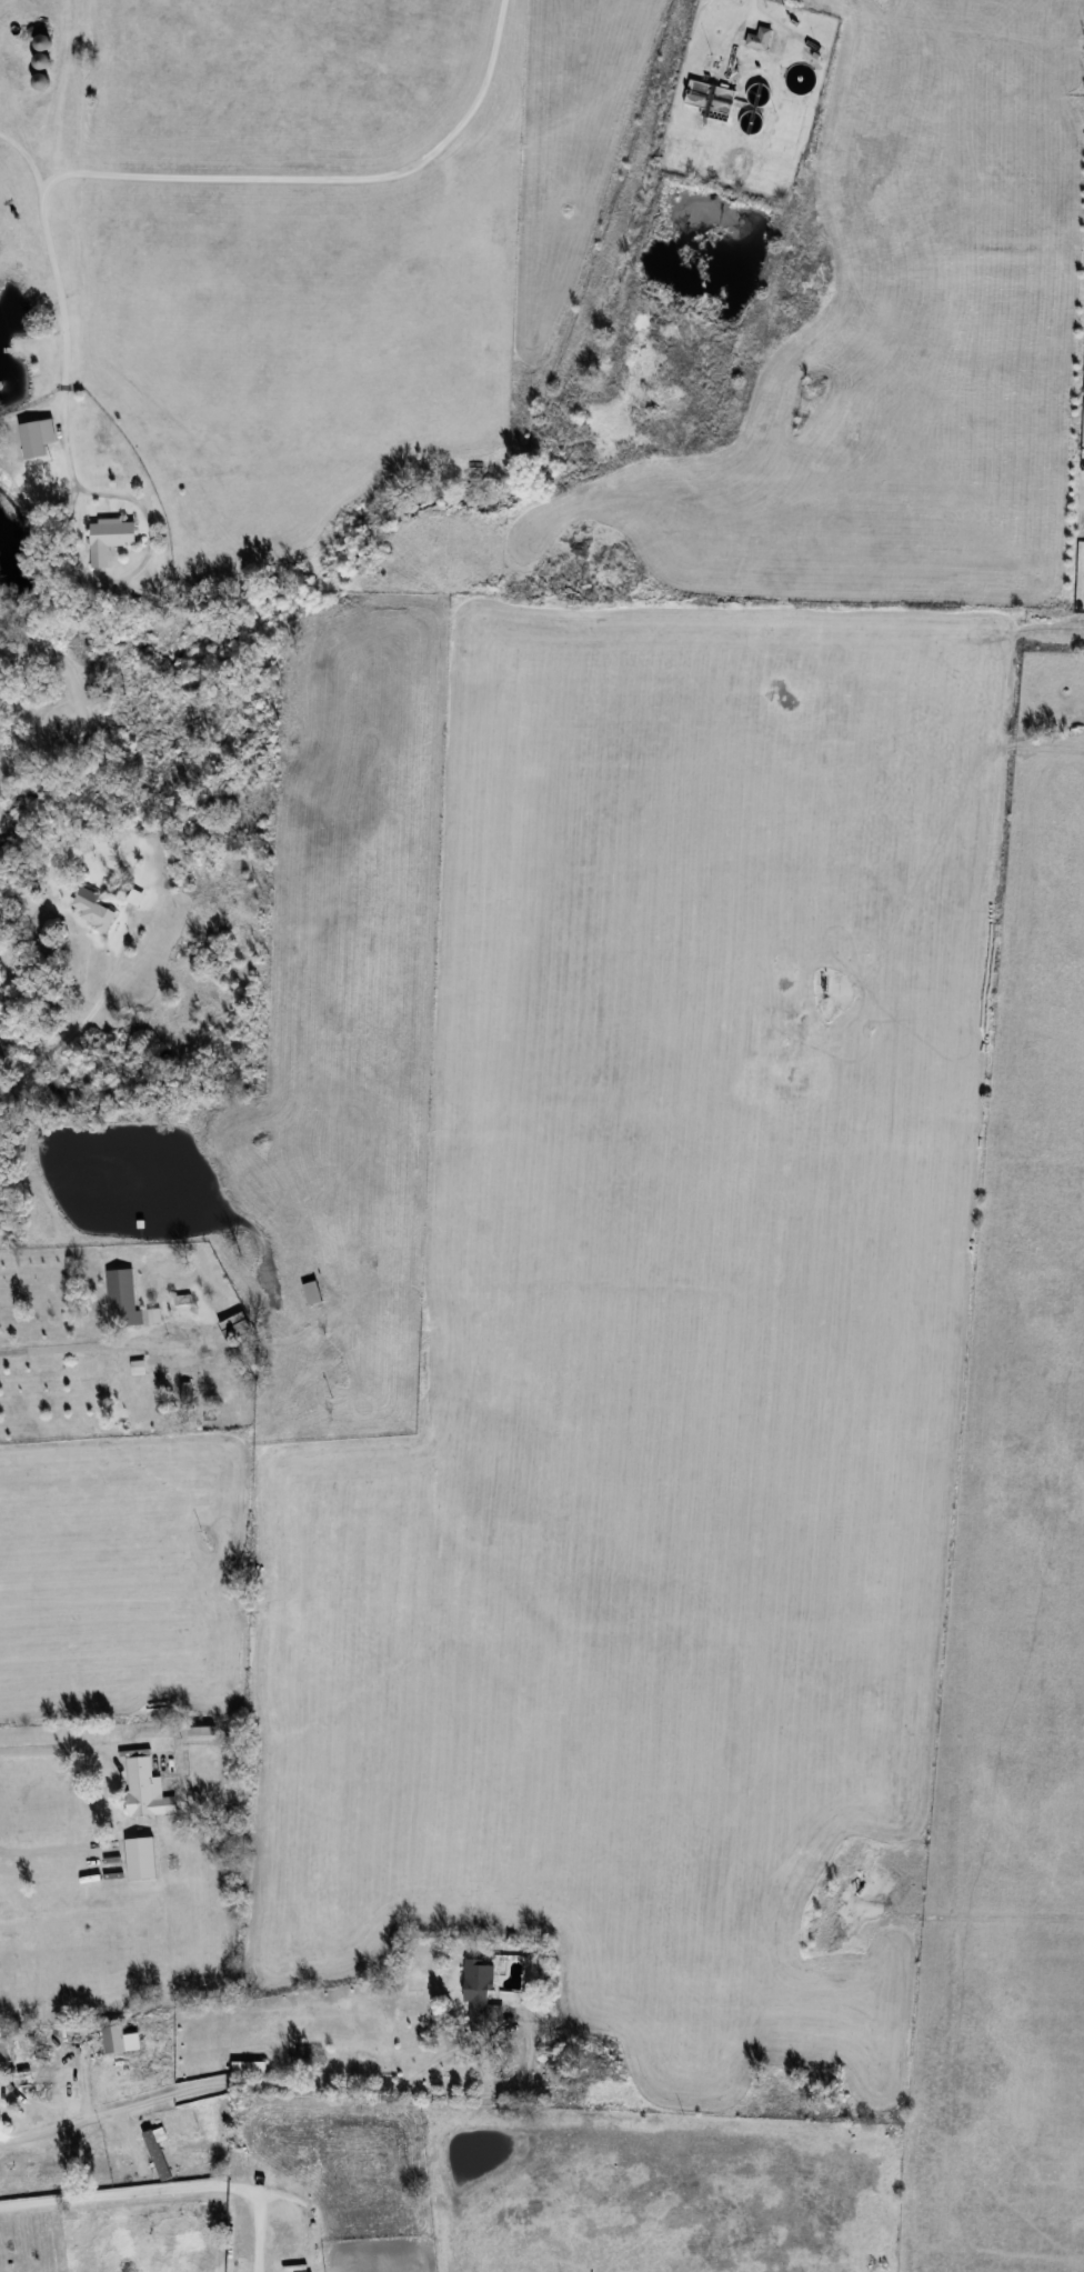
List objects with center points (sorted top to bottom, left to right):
building: (760, 38)
building: (43, 61)
building: (42, 81)
road: (53, 290)
building: (34, 438)
building: (110, 538)
road: (83, 581)
building: (94, 909)
road: (82, 1022)
building: (313, 1293)
building: (123, 1298)
building: (237, 1327)
road: (82, 1344)
building: (208, 1383)
building: (141, 1385)
road: (72, 1746)
building: (147, 1790)
road: (41, 1850)
building: (142, 1859)
building: (481, 1992)
building: (120, 2040)
building: (249, 2068)
road: (232, 2082)
building: (30, 2099)
building: (56, 2163)
road: (170, 2186)
building: (0, 2264)

